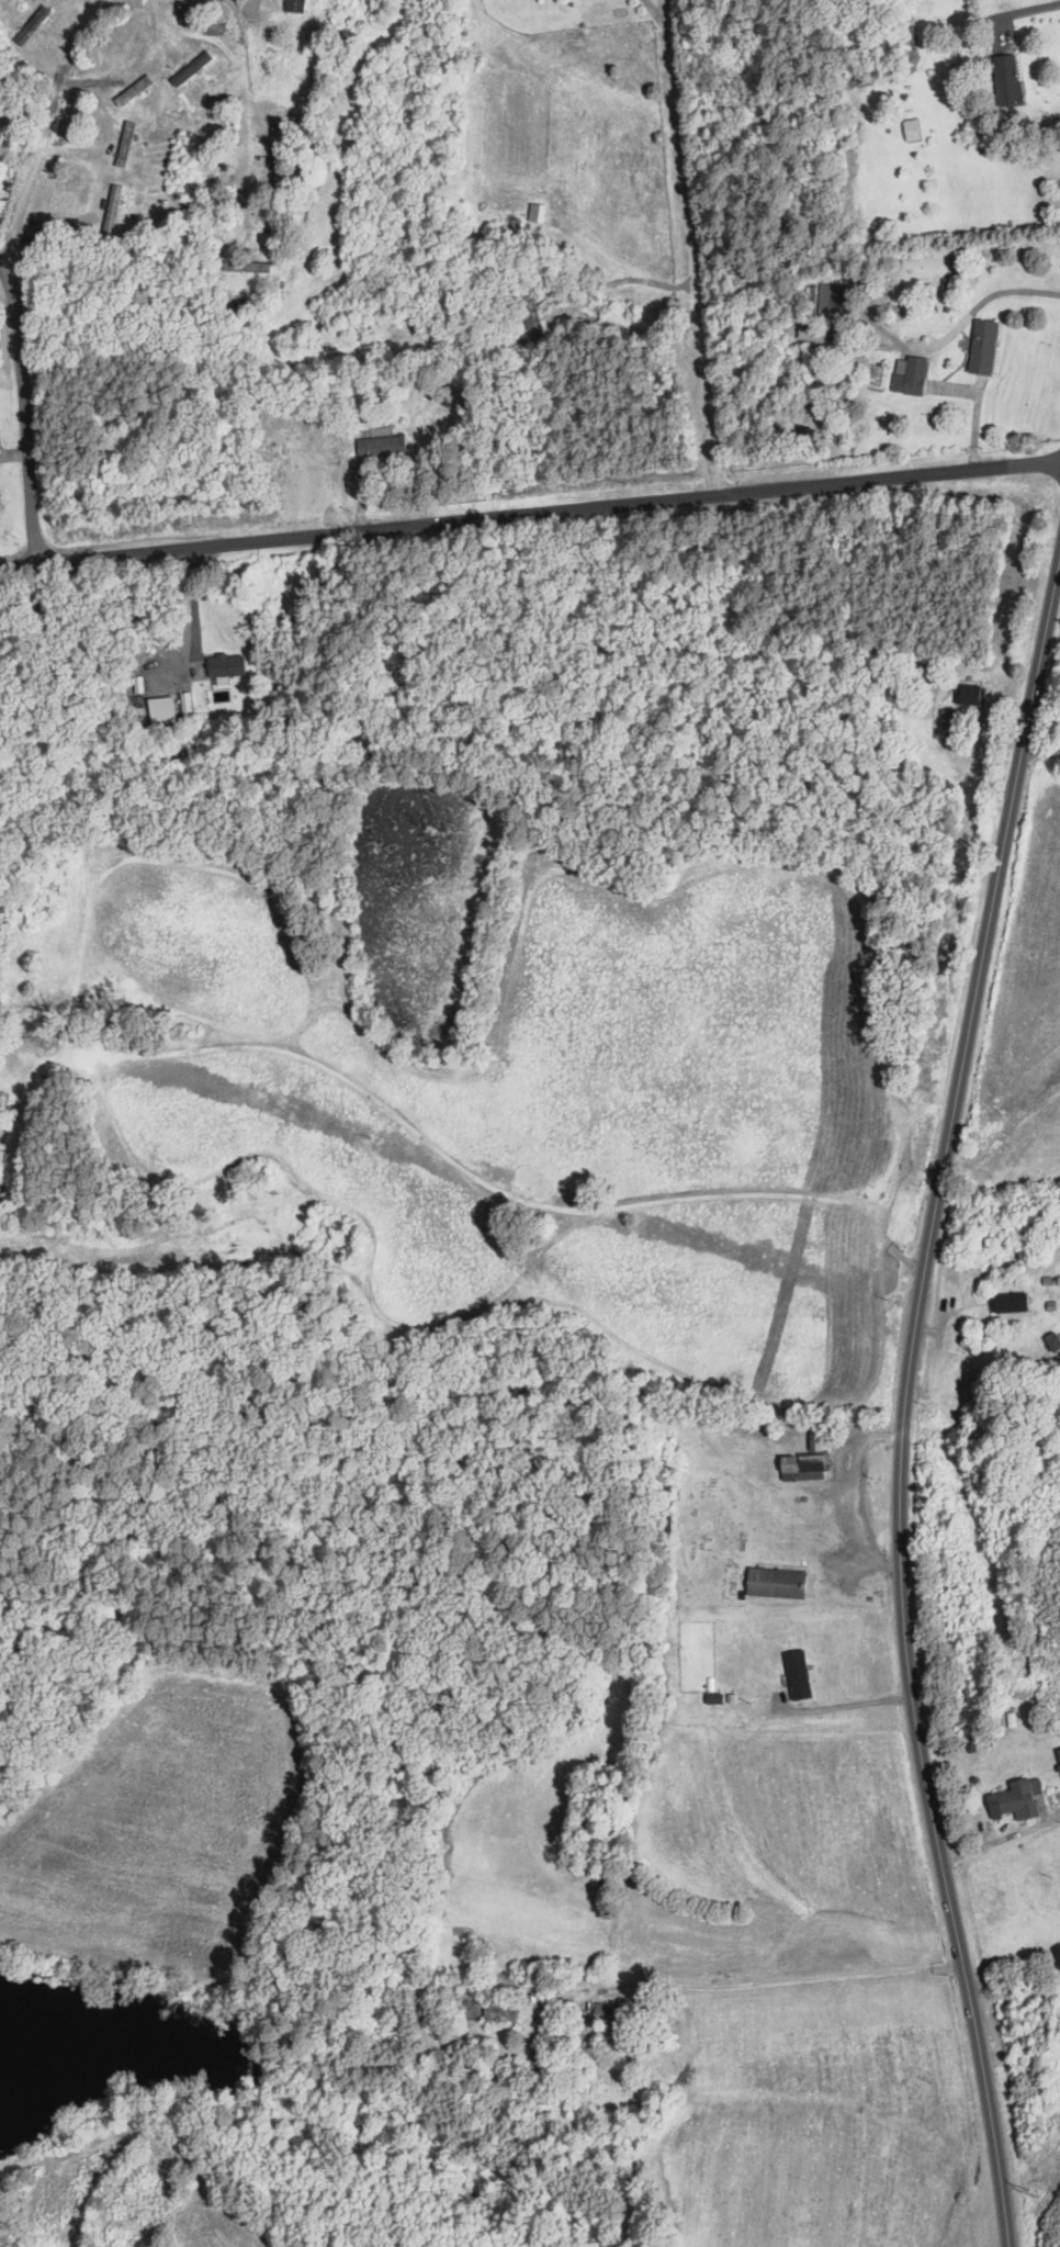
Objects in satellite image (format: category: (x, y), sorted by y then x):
building: (295, 7)
road: (664, 21)
building: (903, 40)
building: (191, 69)
building: (1007, 80)
road: (253, 108)
building: (911, 131)
road: (59, 135)
building: (125, 144)
building: (274, 144)
building: (112, 210)
building: (537, 213)
road: (698, 246)
building: (245, 267)
building: (834, 299)
building: (982, 347)
building: (910, 375)
road: (23, 416)
building: (381, 447)
road: (529, 513)
road: (194, 608)
building: (225, 664)
building: (970, 694)
building: (947, 719)
building: (2, 1099)
building: (1, 1191)
building: (1008, 1303)
building: (1052, 1341)
road: (909, 1426)
building: (809, 1453)
building: (776, 1583)
building: (798, 1675)
building: (714, 1701)
road: (846, 1705)
building: (1058, 1756)
building: (1019, 1798)
road: (1004, 1840)
road: (813, 1978)
building: (487, 2010)
building: (606, 2014)
building: (522, 2066)
building: (473, 2069)
power tower: (1028, 2195)

